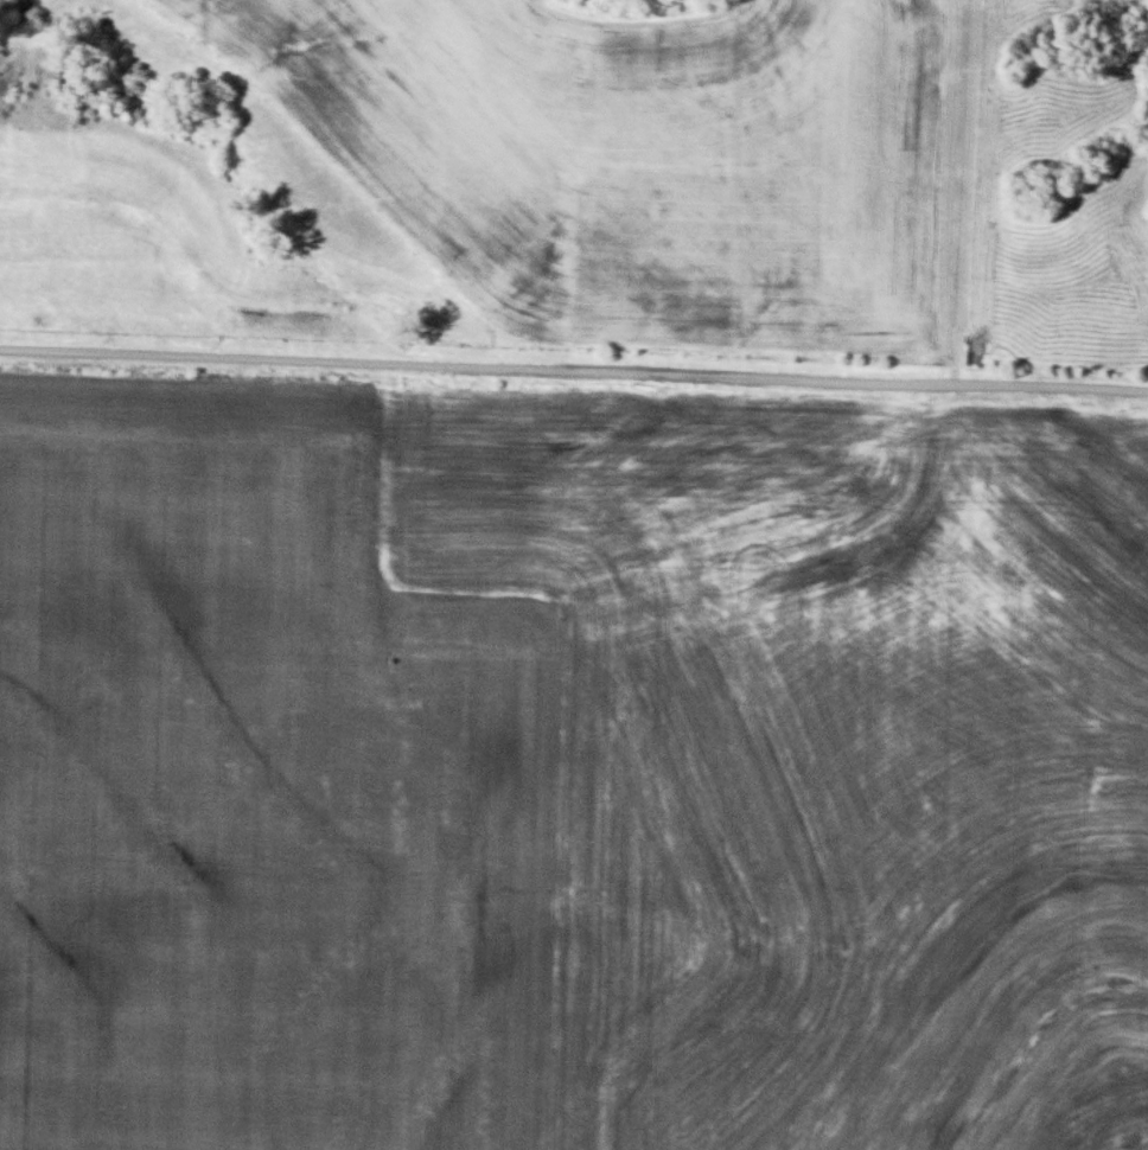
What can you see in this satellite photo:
road: (574, 368)

